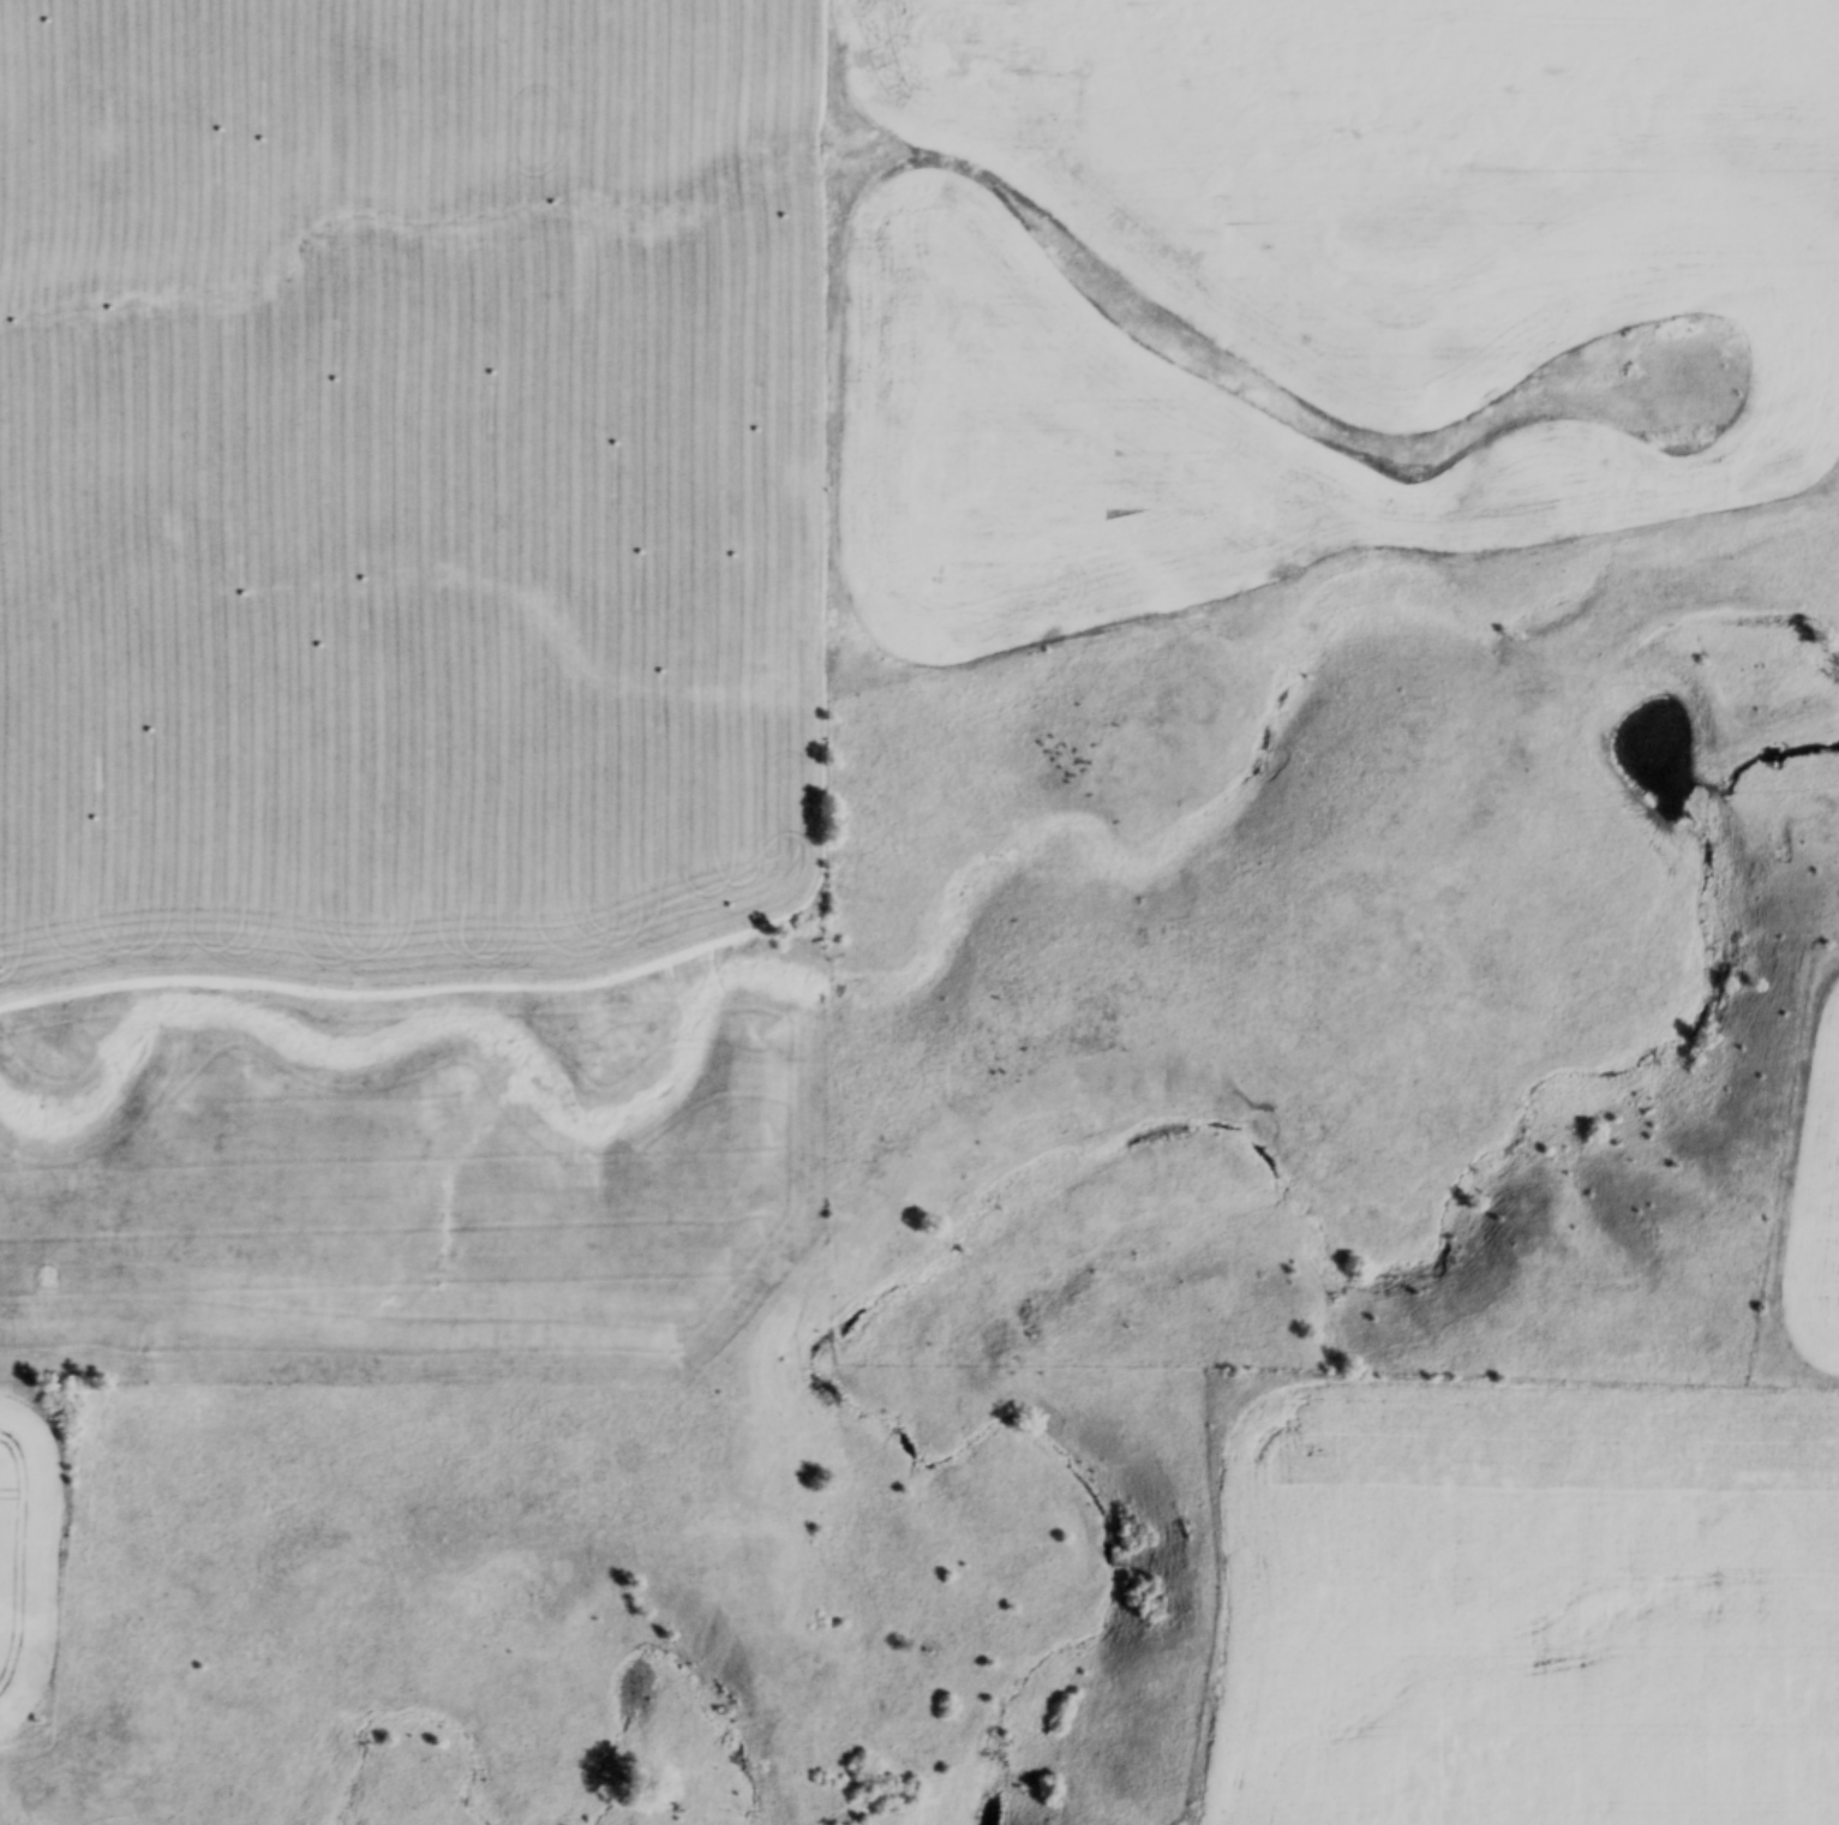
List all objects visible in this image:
river: (1651, 734)

